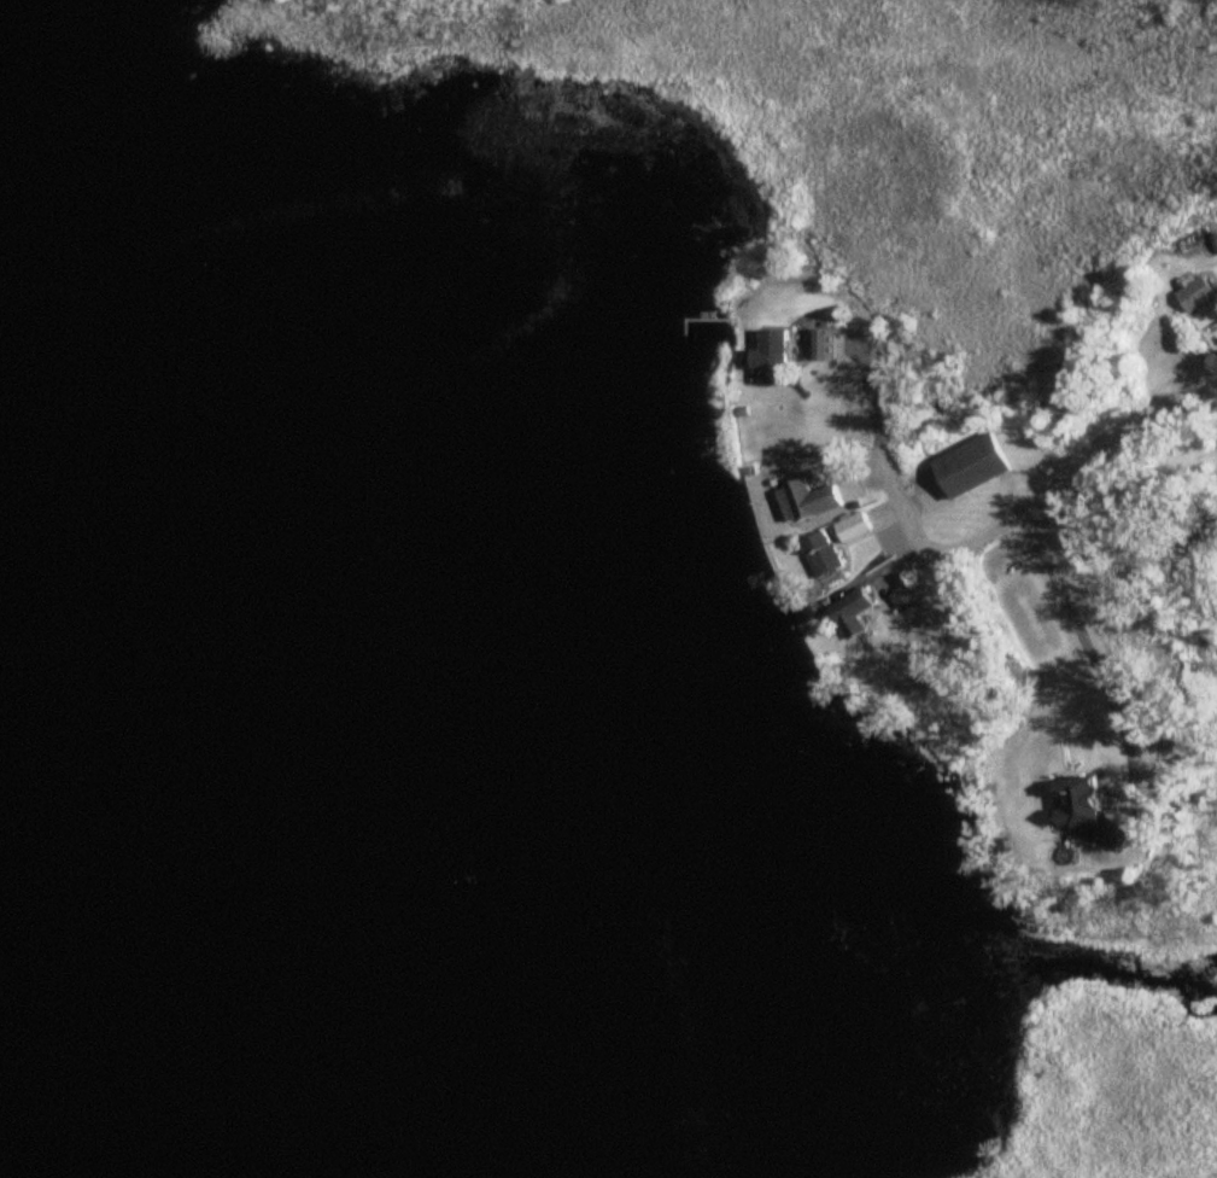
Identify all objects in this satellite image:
building: (1195, 294)
building: (823, 346)
building: (771, 358)
road: (885, 454)
building: (971, 468)
building: (844, 472)
road: (1082, 472)
building: (806, 502)
building: (853, 529)
building: (820, 554)
building: (902, 599)
building: (850, 611)
road: (1088, 651)
building: (1083, 806)

